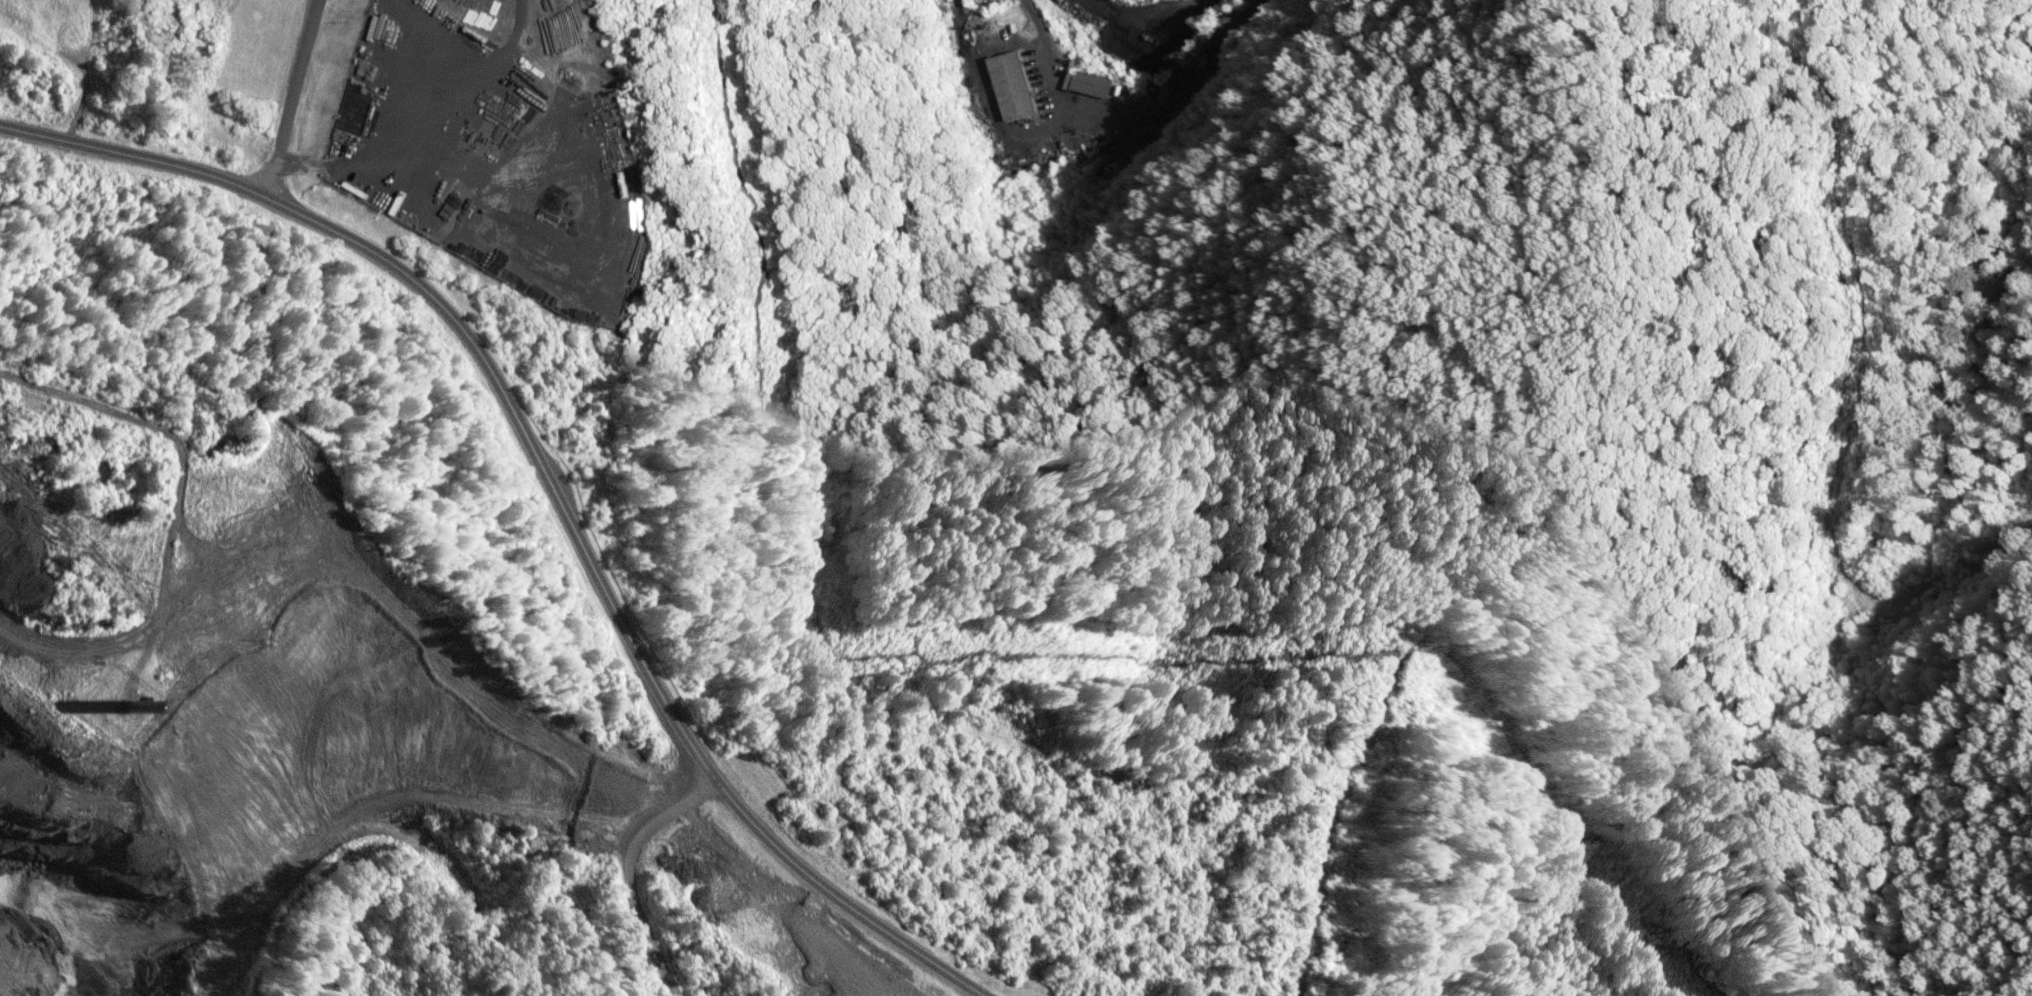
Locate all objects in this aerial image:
building: (1087, 85)
building: (1009, 87)
road: (551, 479)
quarry: (228, 694)

